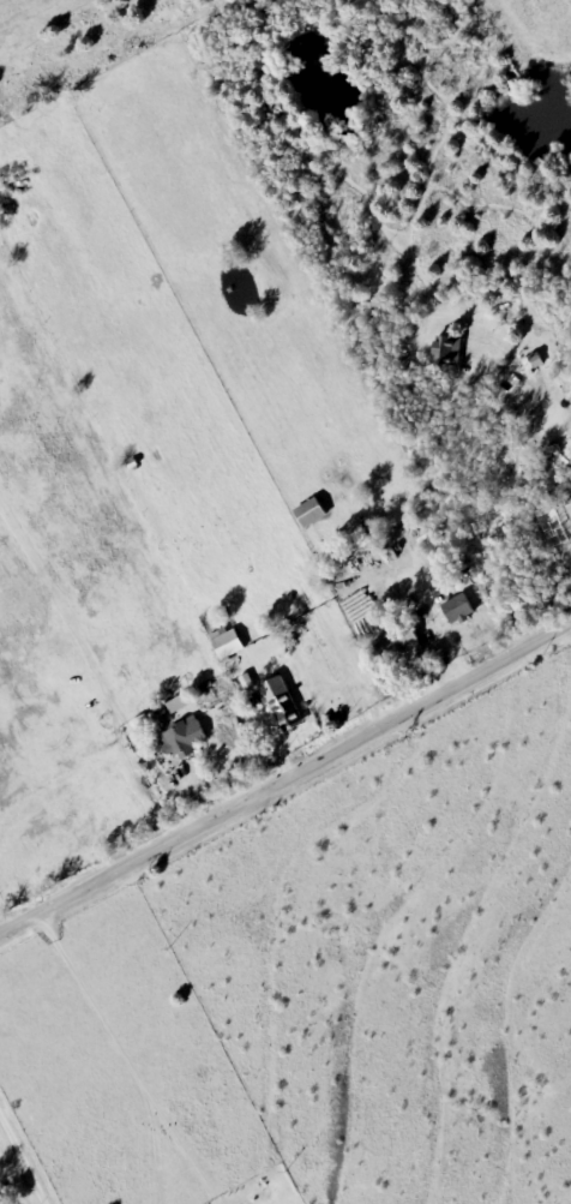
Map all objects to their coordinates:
building: (309, 514)
building: (458, 611)
building: (397, 645)
building: (229, 646)
building: (285, 709)
building: (184, 739)
road: (285, 780)

